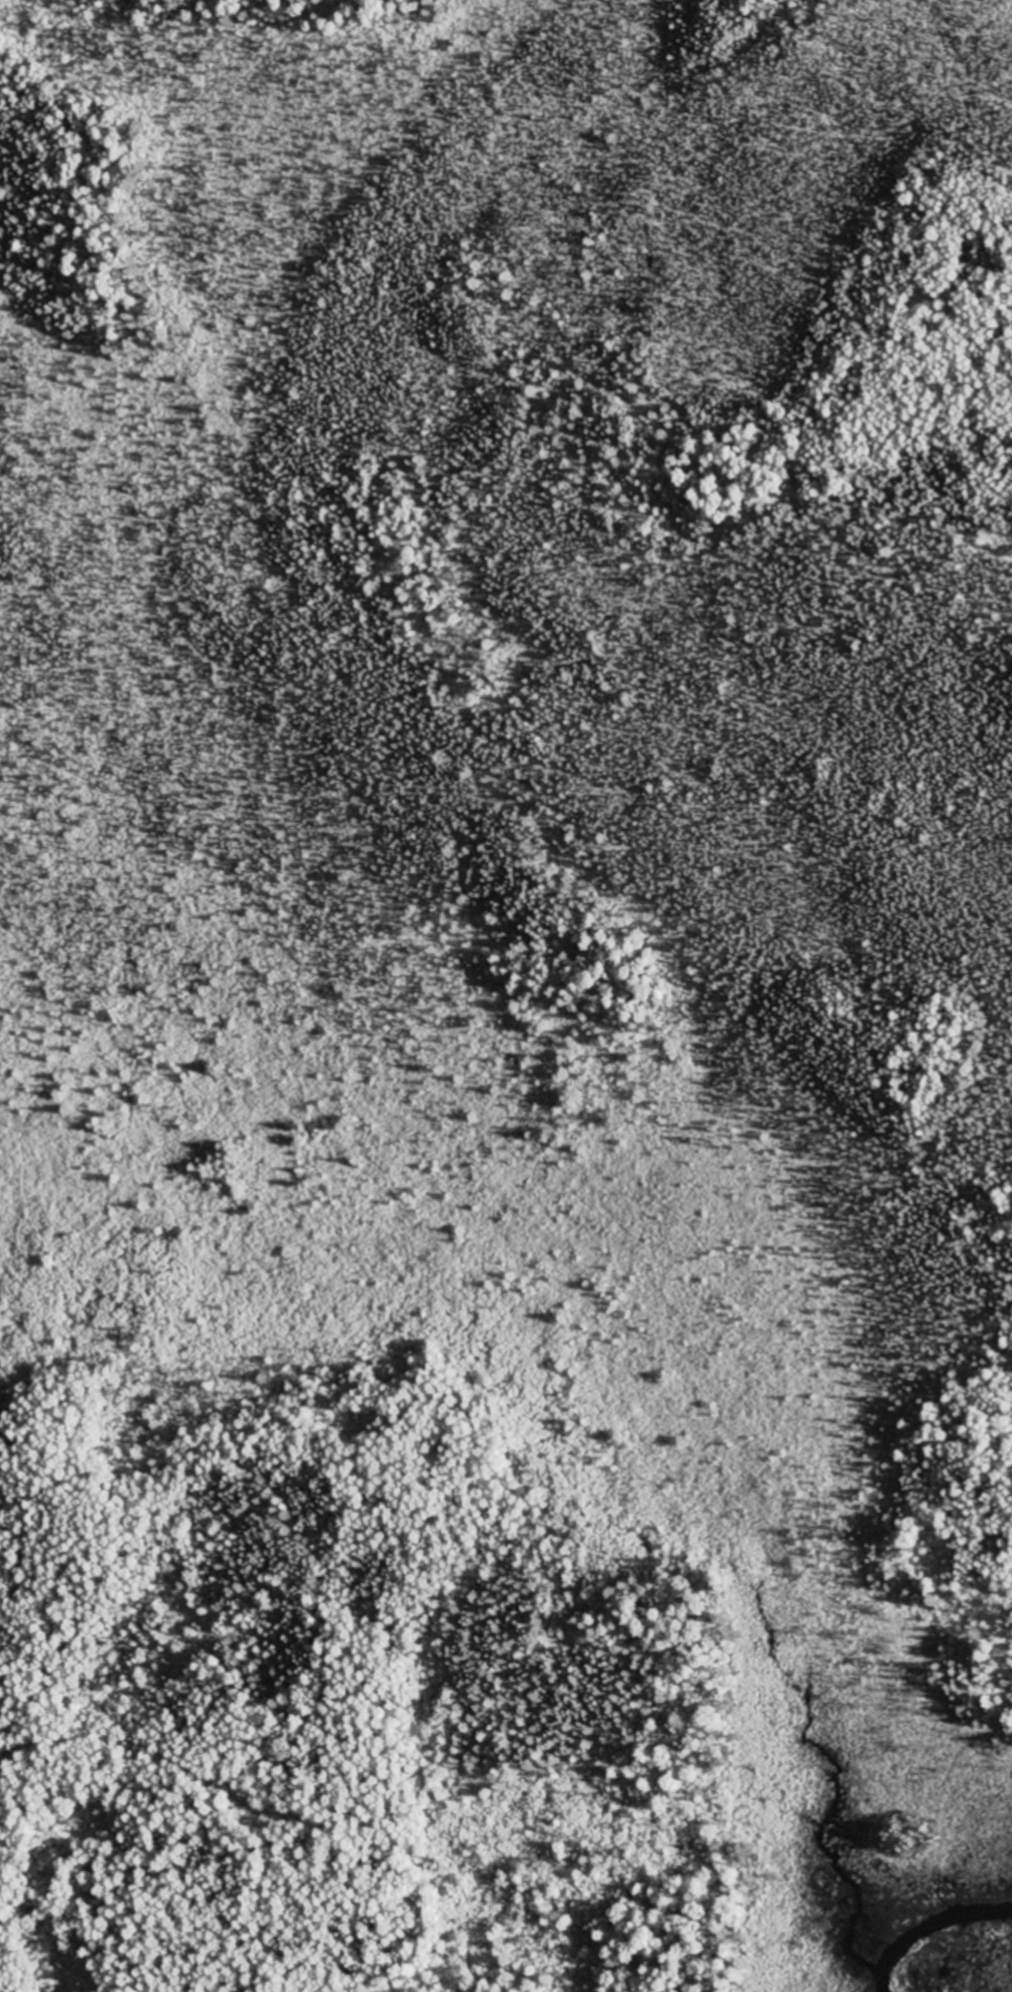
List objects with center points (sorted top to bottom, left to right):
road: (163, 1734)

